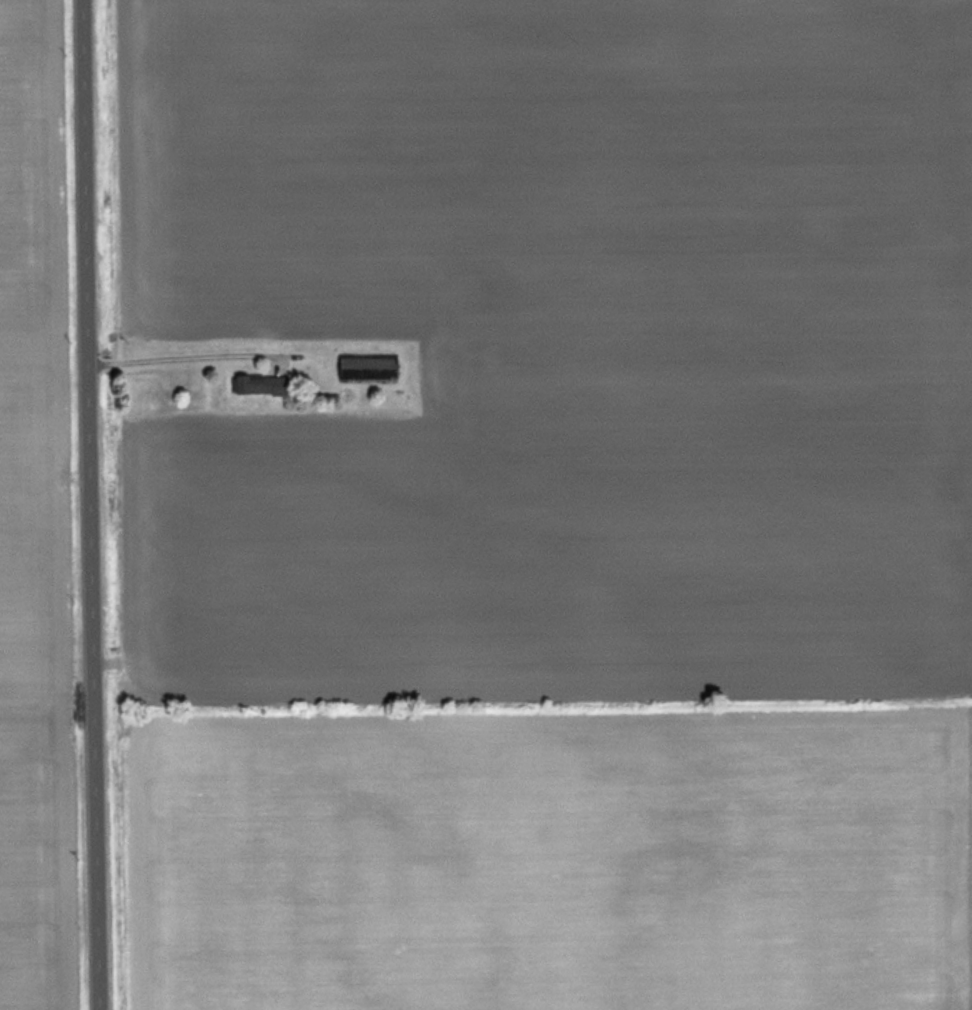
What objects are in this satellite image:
road: (181, 353)
building: (369, 368)
building: (263, 383)
road: (92, 505)

